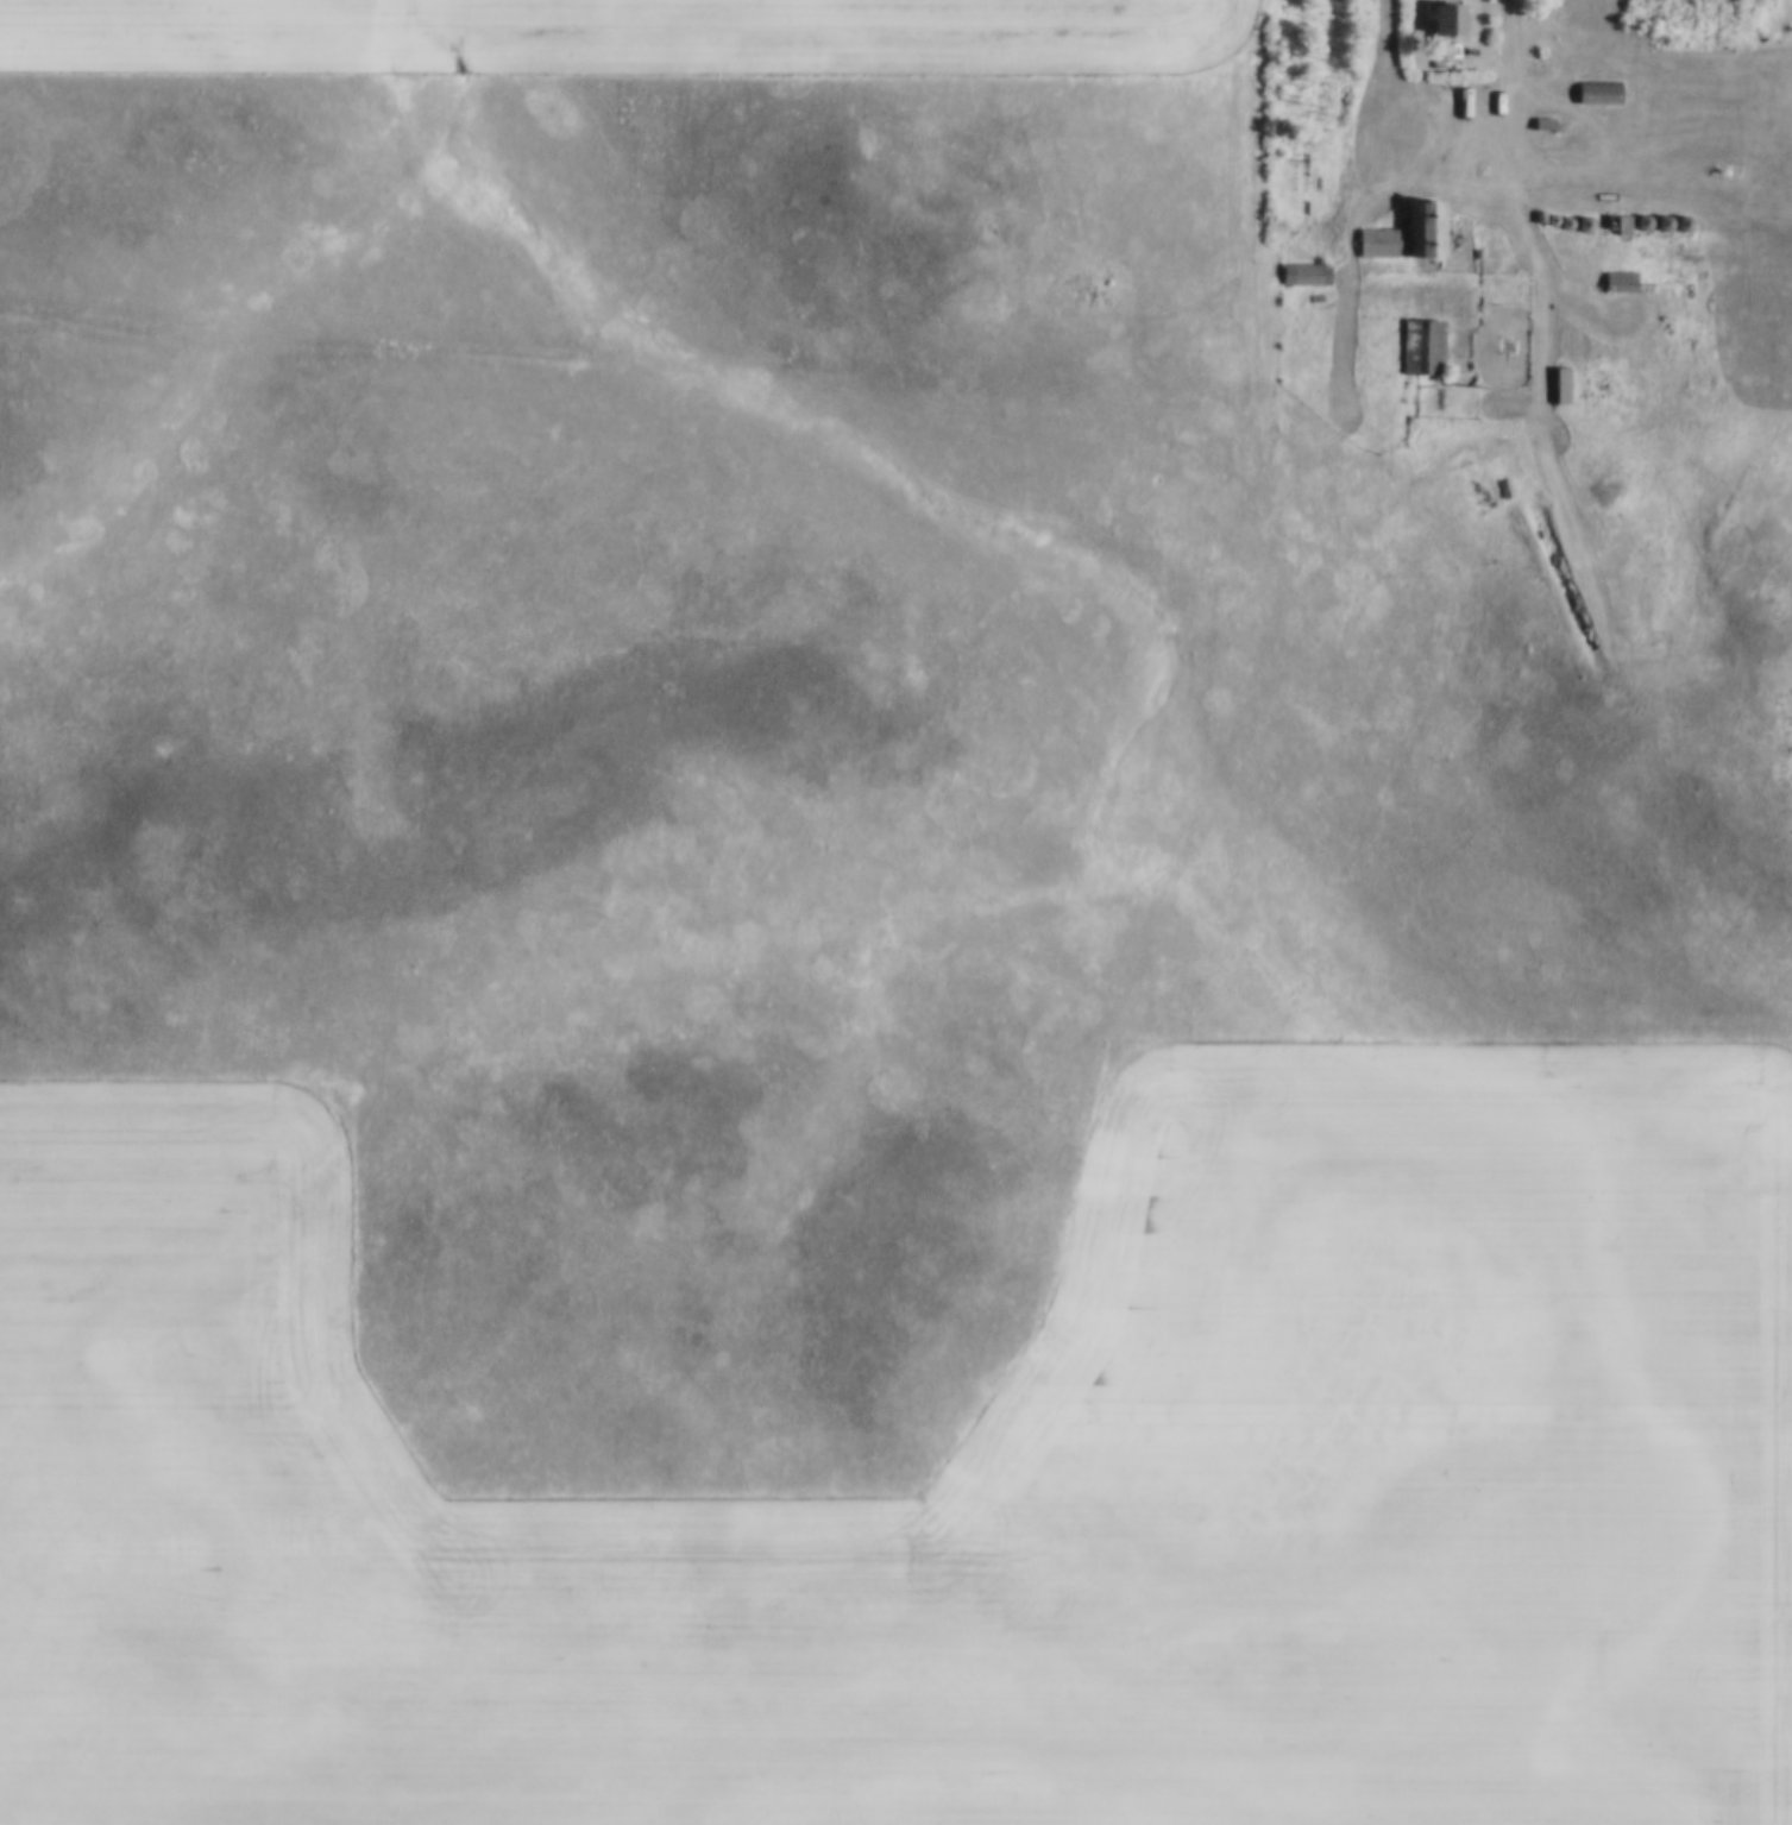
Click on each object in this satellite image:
building: (1603, 93)
road: (1517, 131)
building: (1402, 241)
building: (1309, 275)
building: (1624, 282)
building: (1427, 348)
building: (1566, 386)

